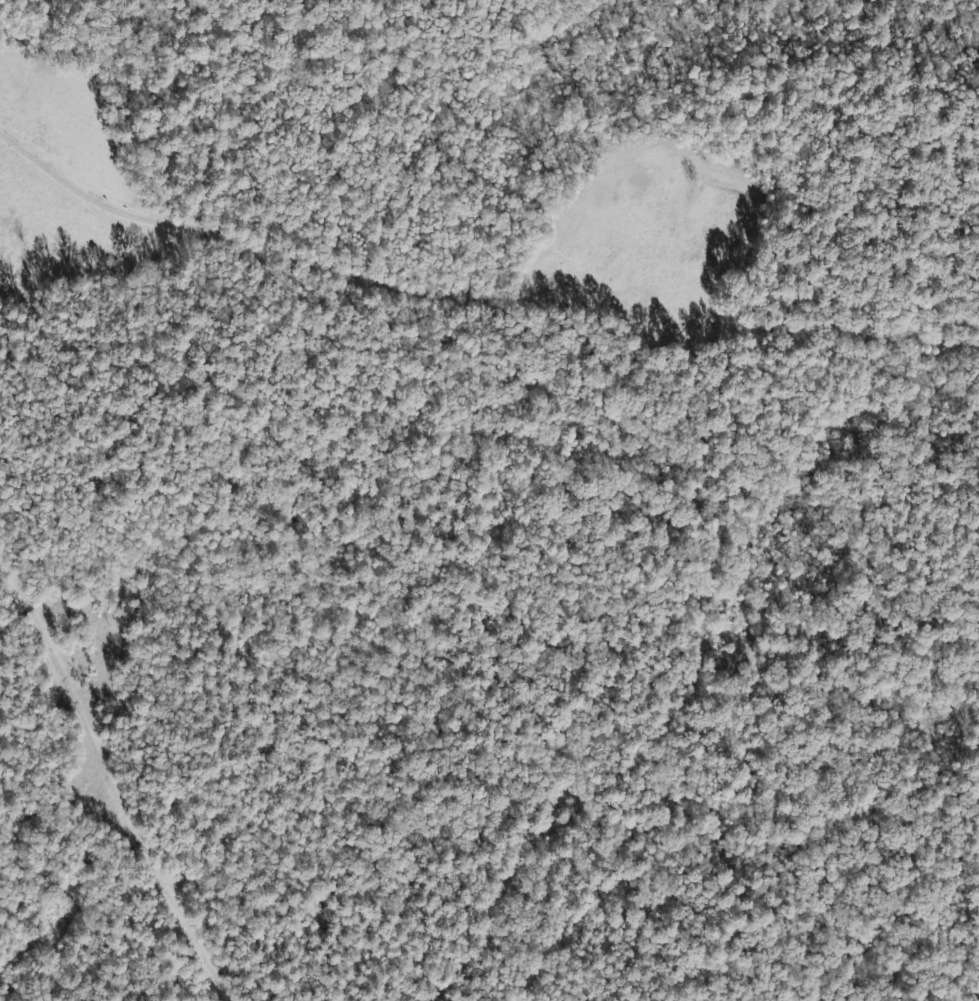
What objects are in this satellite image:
road: (473, 300)
road: (112, 782)

